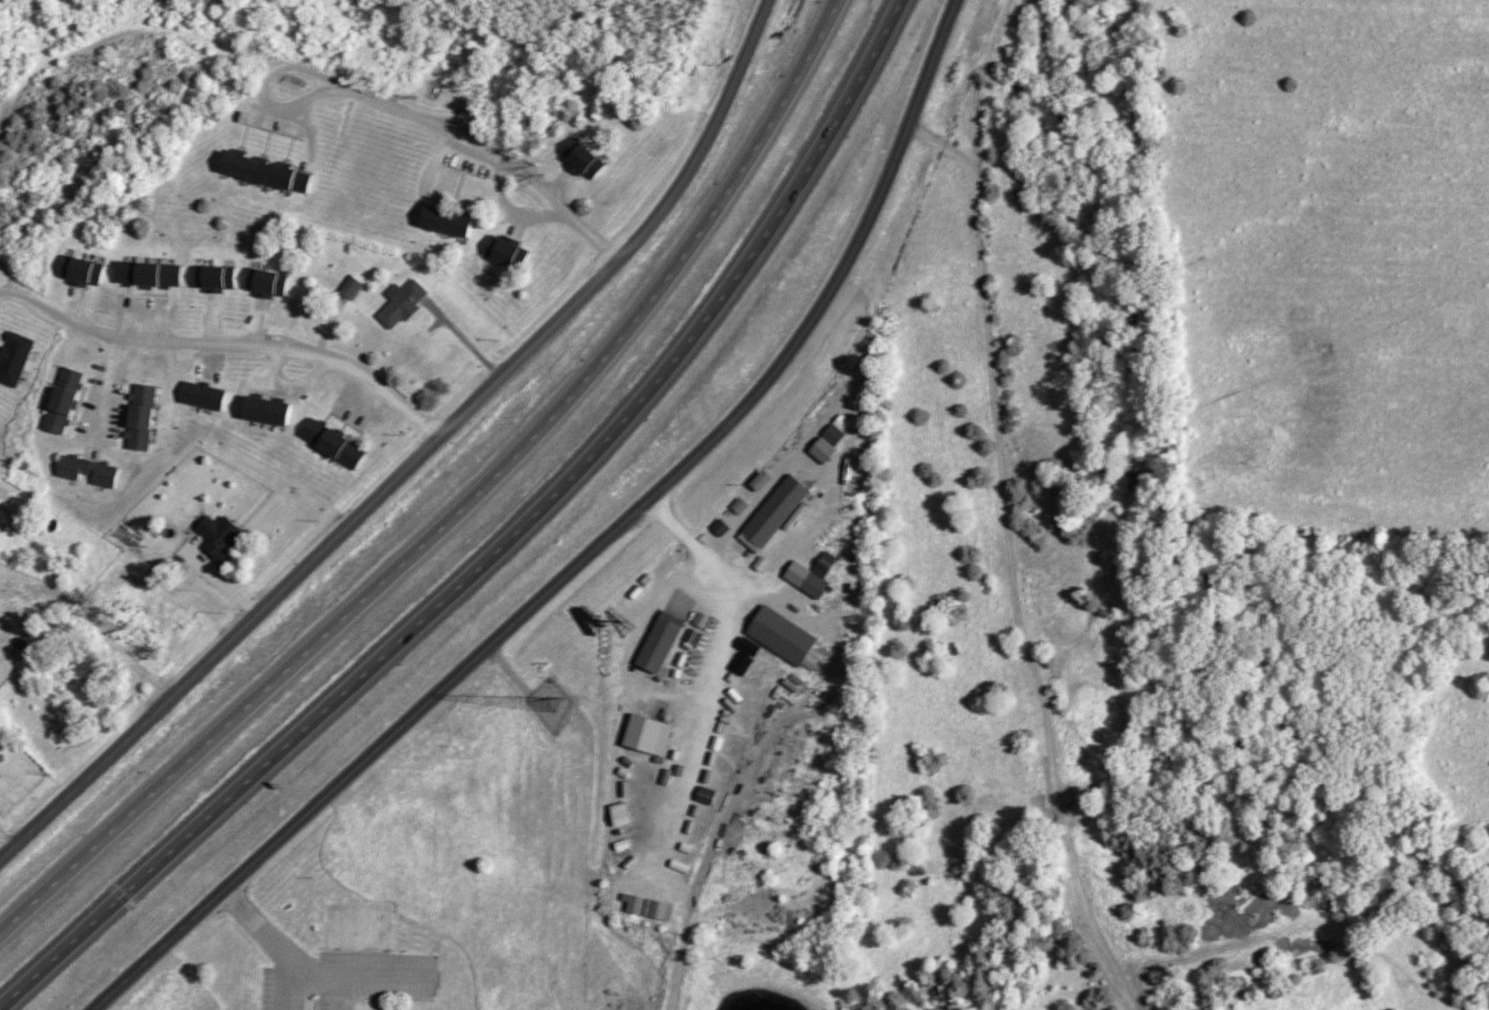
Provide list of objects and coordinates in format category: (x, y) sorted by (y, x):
road: (263, 85)
road: (488, 149)
building: (586, 160)
building: (269, 173)
building: (452, 223)
building: (508, 254)
building: (82, 272)
building: (149, 276)
building: (215, 279)
building: (267, 284)
building: (353, 289)
building: (405, 305)
road: (221, 345)
building: (15, 360)
road: (107, 392)
building: (204, 396)
building: (65, 402)
building: (269, 411)
building: (143, 418)
building: (335, 443)
building: (827, 443)
road: (420, 457)
building: (90, 471)
building: (765, 480)
road: (465, 505)
road: (752, 508)
building: (777, 515)
building: (222, 534)
road: (503, 548)
road: (587, 552)
road: (1012, 561)
building: (785, 637)
building: (662, 644)
road: (709, 681)
building: (80, 692)
building: (651, 735)
road: (310, 971)

